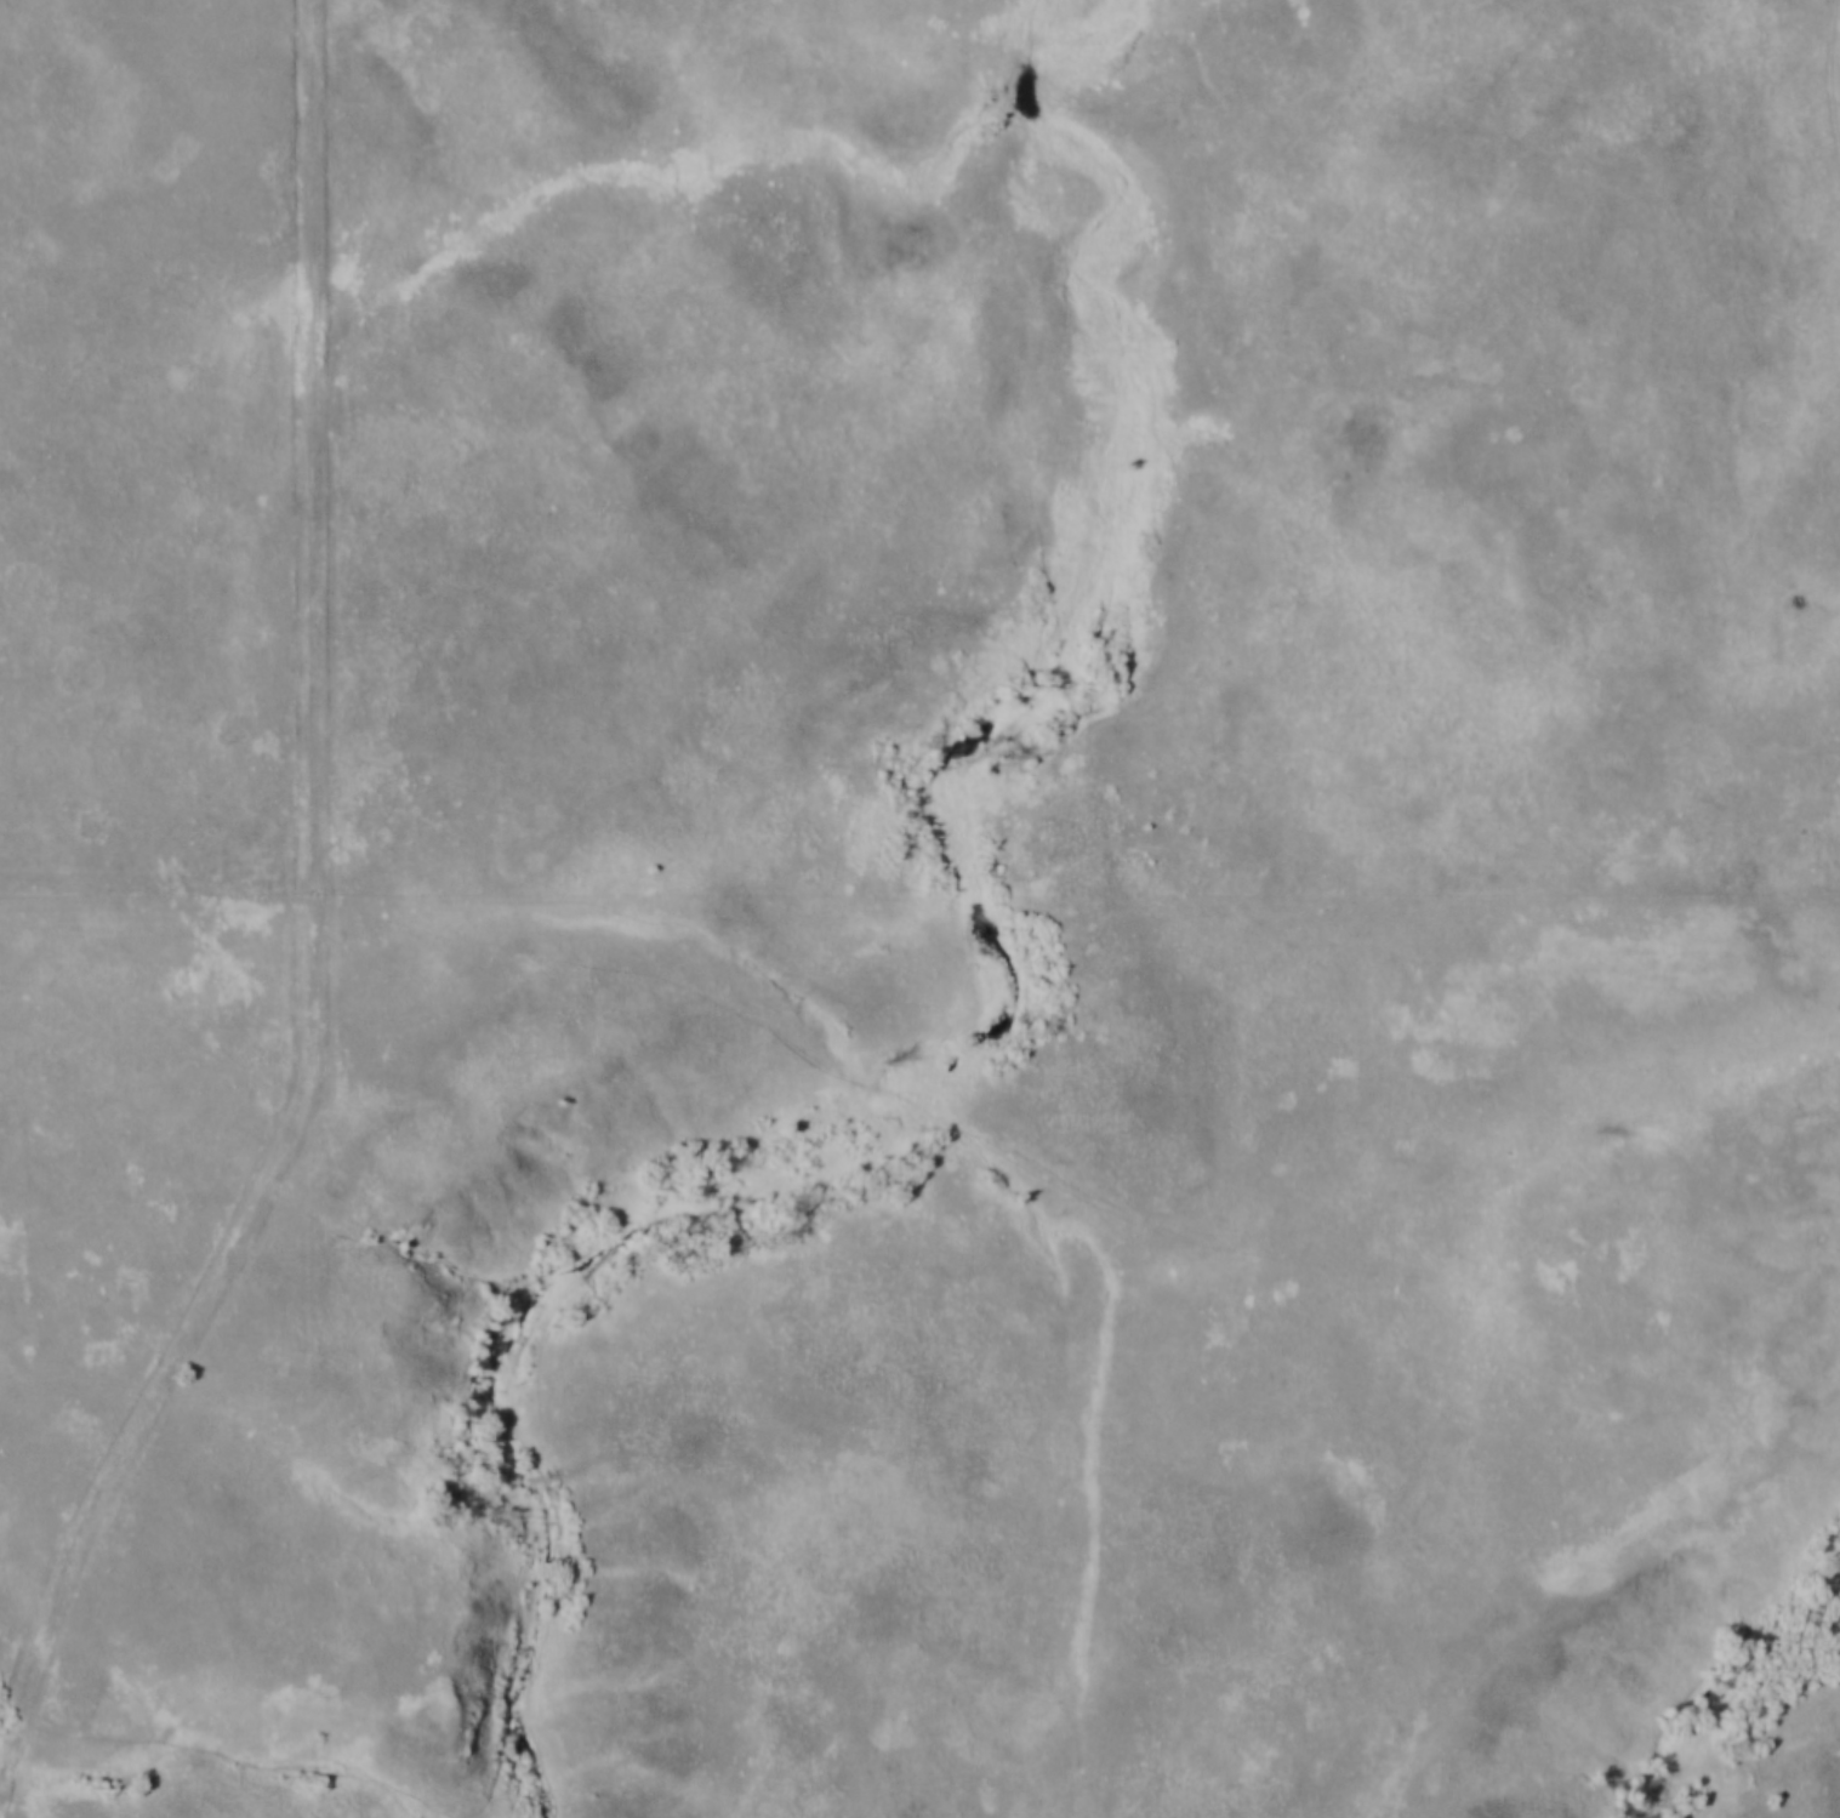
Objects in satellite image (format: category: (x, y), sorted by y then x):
road: (317, 930)
road: (1577, 1574)

